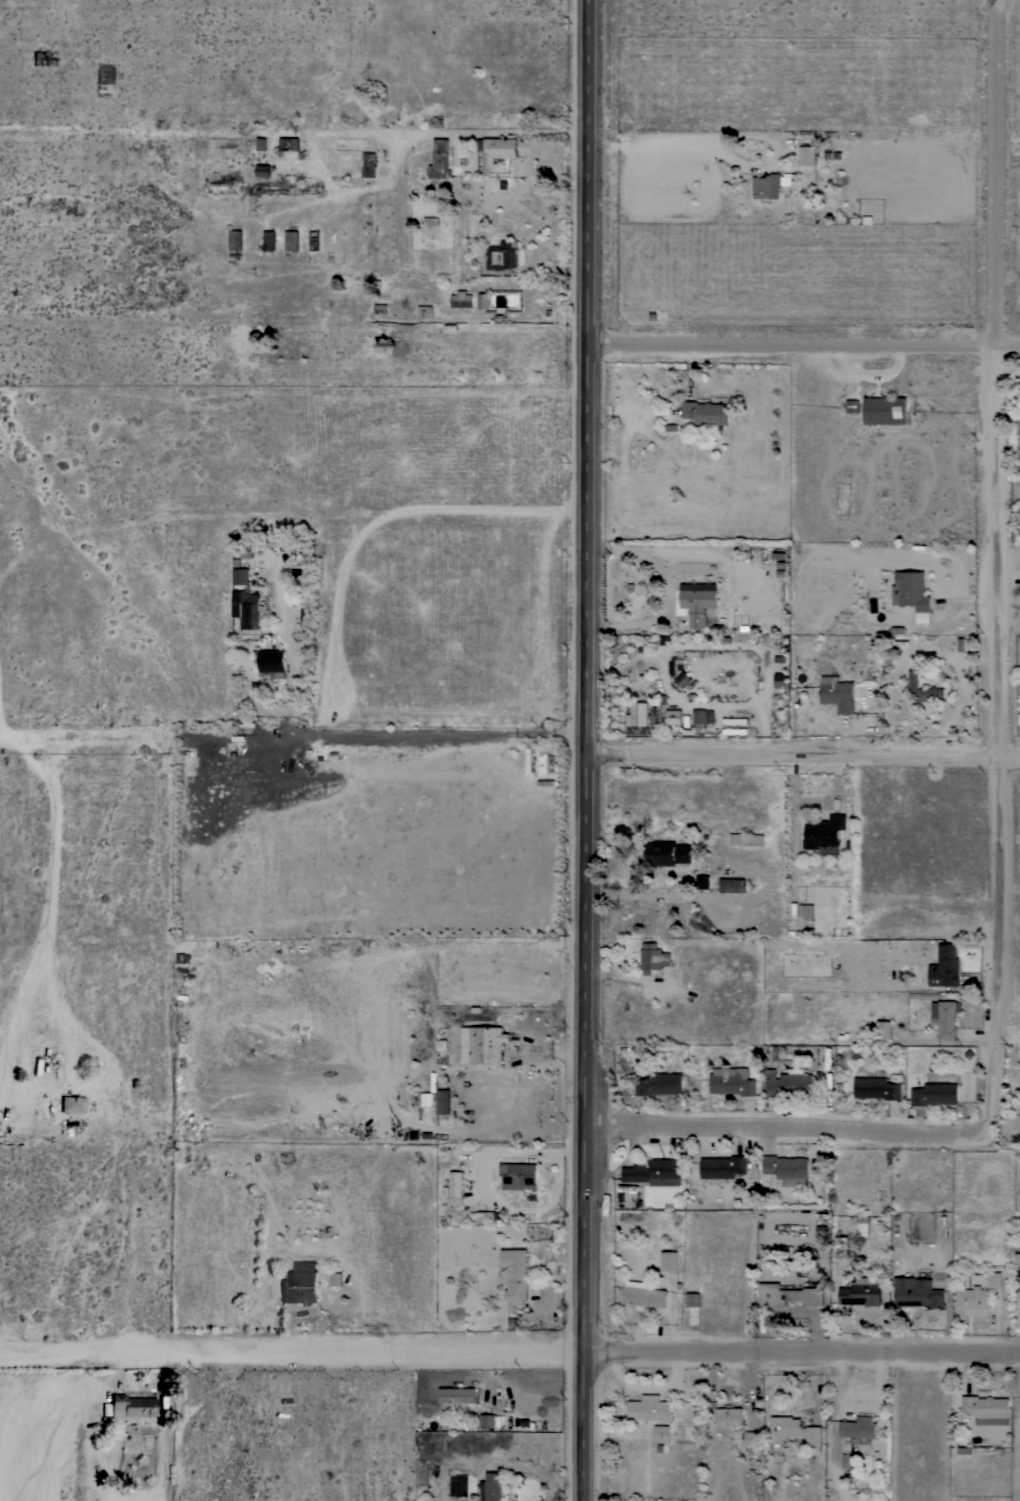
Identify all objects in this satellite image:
road: (993, 5)
building: (436, 122)
road: (294, 130)
road: (730, 136)
building: (497, 148)
building: (807, 155)
building: (439, 159)
building: (368, 164)
building: (262, 170)
road: (996, 176)
building: (768, 186)
building: (235, 240)
building: (269, 240)
building: (291, 240)
building: (502, 256)
building: (462, 299)
building: (483, 300)
building: (380, 309)
building: (424, 311)
road: (807, 341)
building: (853, 406)
building: (885, 410)
building: (706, 413)
building: (671, 487)
building: (704, 487)
building: (241, 575)
road: (667, 590)
building: (912, 593)
building: (698, 601)
building: (245, 608)
road: (295, 648)
building: (271, 662)
building: (780, 680)
building: (922, 691)
road: (1004, 692)
building: (837, 694)
building: (637, 714)
building: (703, 716)
building: (674, 717)
road: (295, 731)
road: (591, 750)
road: (805, 755)
building: (824, 834)
building: (747, 839)
building: (667, 853)
building: (703, 882)
building: (732, 885)
building: (805, 911)
building: (653, 957)
building: (183, 958)
building: (945, 966)
building: (948, 1018)
building: (883, 1029)
building: (441, 1044)
building: (483, 1044)
building: (732, 1081)
building: (789, 1082)
building: (660, 1084)
building: (877, 1087)
road: (1001, 1090)
building: (935, 1092)
building: (427, 1099)
building: (444, 1101)
building: (72, 1104)
building: (1015, 1121)
road: (788, 1130)
building: (721, 1168)
building: (787, 1169)
building: (654, 1172)
building: (521, 1177)
building: (455, 1187)
building: (480, 1217)
building: (669, 1260)
building: (514, 1273)
building: (336, 1279)
building: (994, 1280)
building: (300, 1284)
building: (862, 1292)
building: (917, 1293)
building: (643, 1294)
building: (788, 1295)
building: (722, 1297)
building: (973, 1298)
building: (692, 1300)
building: (1019, 1306)
road: (803, 1350)
road: (293, 1352)
building: (457, 1394)
building: (132, 1405)
building: (650, 1409)
building: (987, 1409)
building: (728, 1416)
building: (487, 1421)
building: (857, 1429)
building: (793, 1430)
building: (662, 1433)
building: (752, 1438)
building: (849, 1460)
building: (493, 1486)

